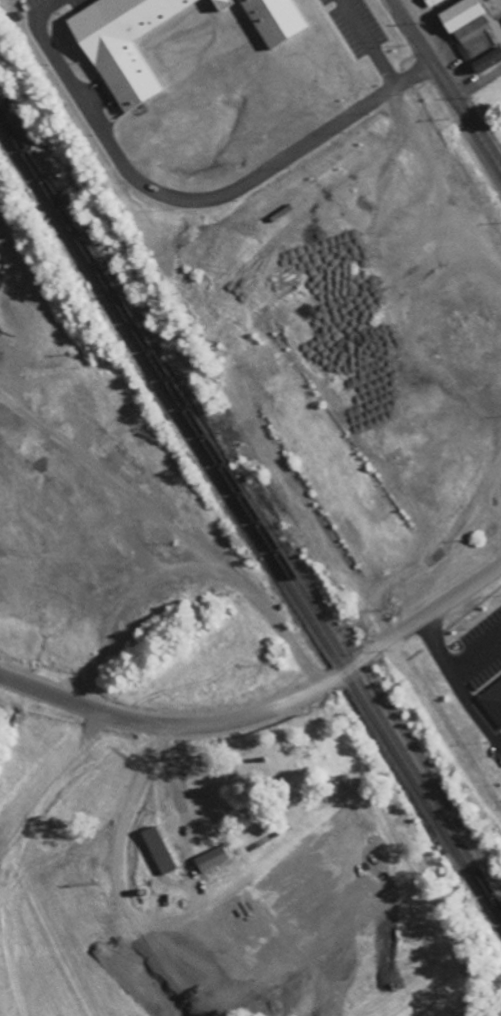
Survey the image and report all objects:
building: (429, 2)
building: (218, 4)
building: (270, 20)
building: (474, 30)
building: (118, 43)
road: (477, 83)
road: (444, 84)
railway: (253, 516)
building: (492, 702)
road: (267, 710)
building: (156, 851)
building: (208, 859)

